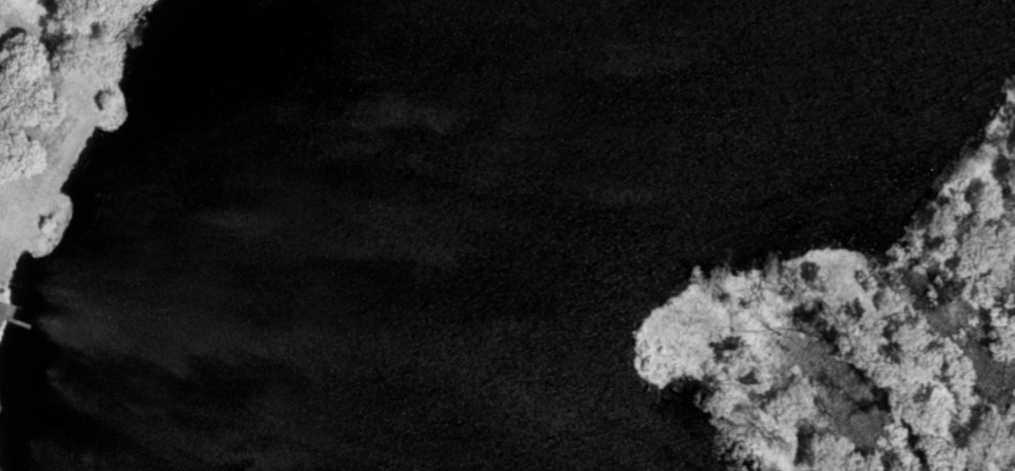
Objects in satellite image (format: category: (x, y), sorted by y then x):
parking lot: (2, 308)
road: (12, 309)

